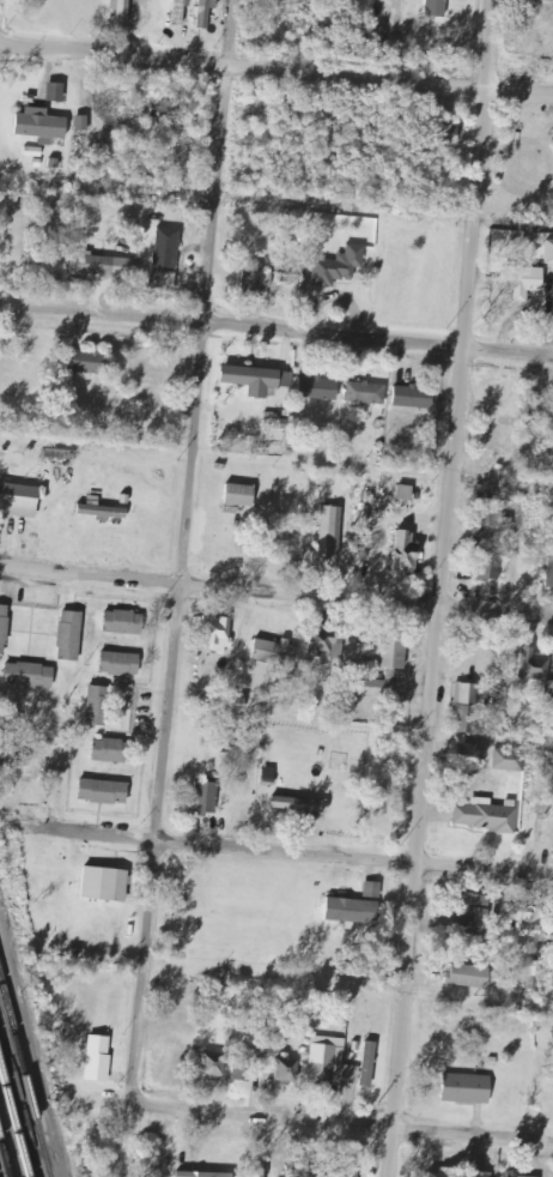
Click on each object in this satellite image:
building: (437, 8)
building: (123, 10)
building: (181, 12)
building: (207, 12)
road: (276, 68)
building: (57, 92)
building: (83, 123)
building: (41, 126)
building: (548, 252)
building: (166, 261)
building: (102, 264)
building: (340, 267)
building: (524, 282)
building: (256, 284)
road: (276, 328)
building: (90, 362)
building: (254, 380)
building: (318, 388)
building: (366, 393)
building: (415, 398)
building: (273, 420)
building: (407, 494)
building: (241, 495)
building: (20, 501)
building: (103, 511)
building: (500, 524)
building: (332, 533)
building: (407, 554)
building: (490, 567)
road: (440, 587)
road: (182, 588)
road: (275, 593)
building: (126, 622)
building: (4, 628)
building: (221, 634)
building: (71, 635)
building: (323, 641)
building: (388, 658)
building: (271, 660)
building: (122, 663)
building: (533, 665)
building: (30, 675)
building: (466, 694)
building: (98, 706)
building: (114, 750)
building: (509, 760)
building: (105, 791)
building: (207, 797)
building: (304, 805)
building: (486, 815)
road: (282, 853)
building: (107, 885)
building: (352, 911)
building: (473, 915)
building: (531, 928)
building: (469, 976)
building: (99, 1058)
building: (330, 1063)
building: (369, 1064)
building: (213, 1066)
building: (242, 1066)
building: (287, 1069)
railway: (24, 1080)
building: (468, 1088)
railway: (19, 1100)
railway: (14, 1121)
road: (341, 1128)
railway: (8, 1141)
railway: (5, 1157)
building: (340, 1172)
building: (480, 1173)
building: (206, 1175)
building: (260, 1175)
building: (439, 1175)
railway: (0, 1176)
building: (518, 1176)

